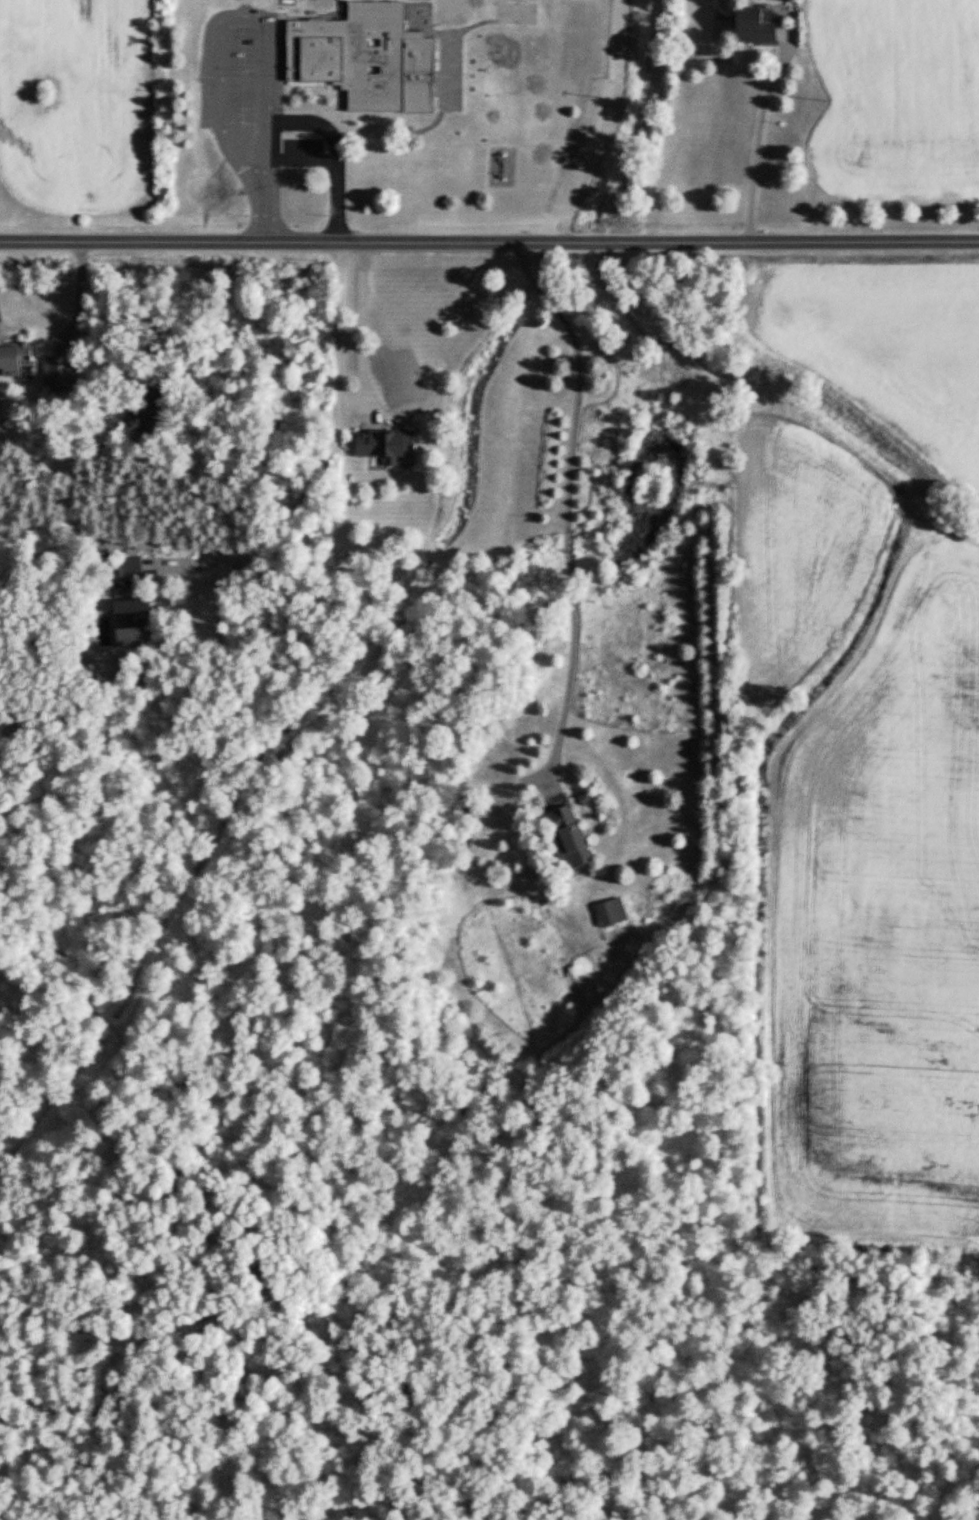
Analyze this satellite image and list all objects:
building: (759, 26)
building: (368, 58)
road: (299, 124)
road: (755, 137)
road: (489, 240)
road: (361, 327)
building: (18, 356)
building: (394, 446)
road: (330, 453)
road: (565, 504)
building: (133, 569)
building: (145, 623)
building: (572, 839)
building: (611, 914)

